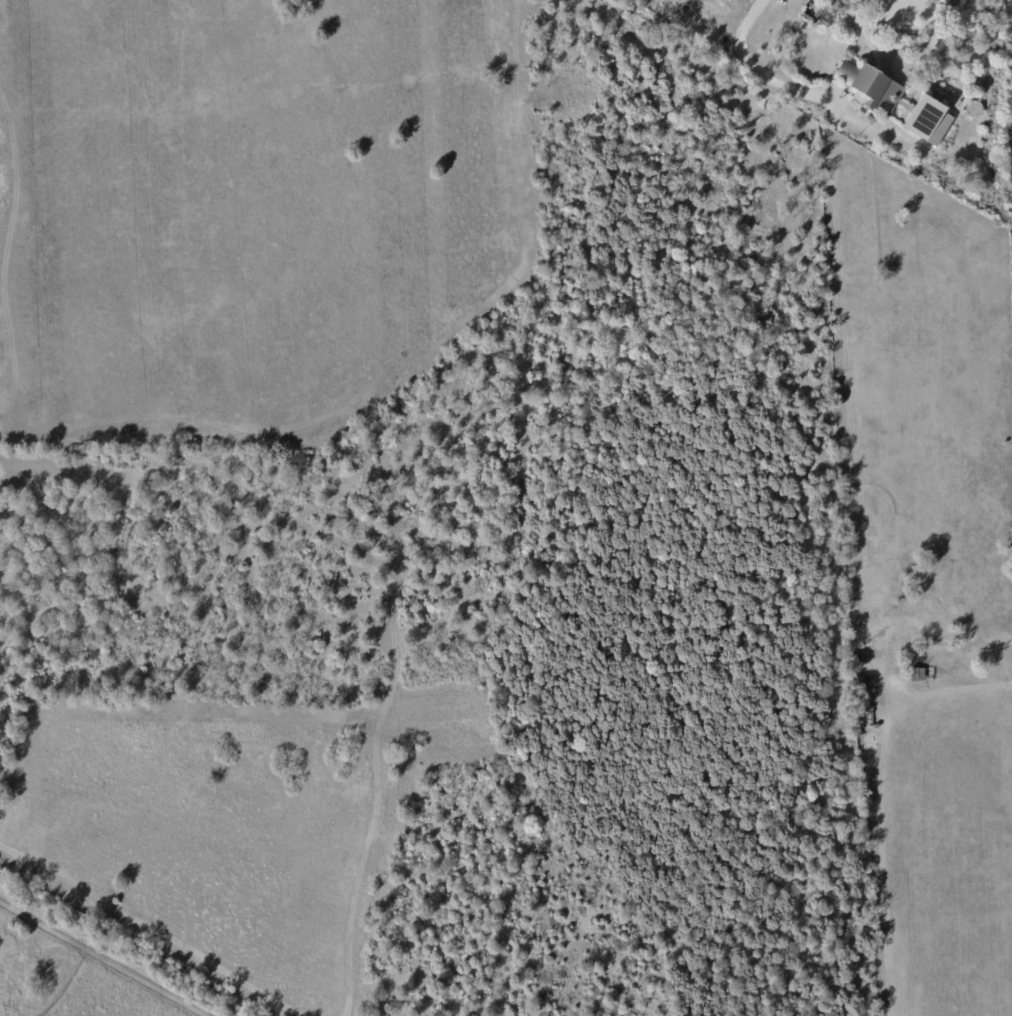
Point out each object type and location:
parking lot: (727, 6)
building: (819, 11)
road: (756, 67)
building: (868, 87)
building: (926, 121)
building: (917, 675)
road: (960, 687)
building: (862, 705)

